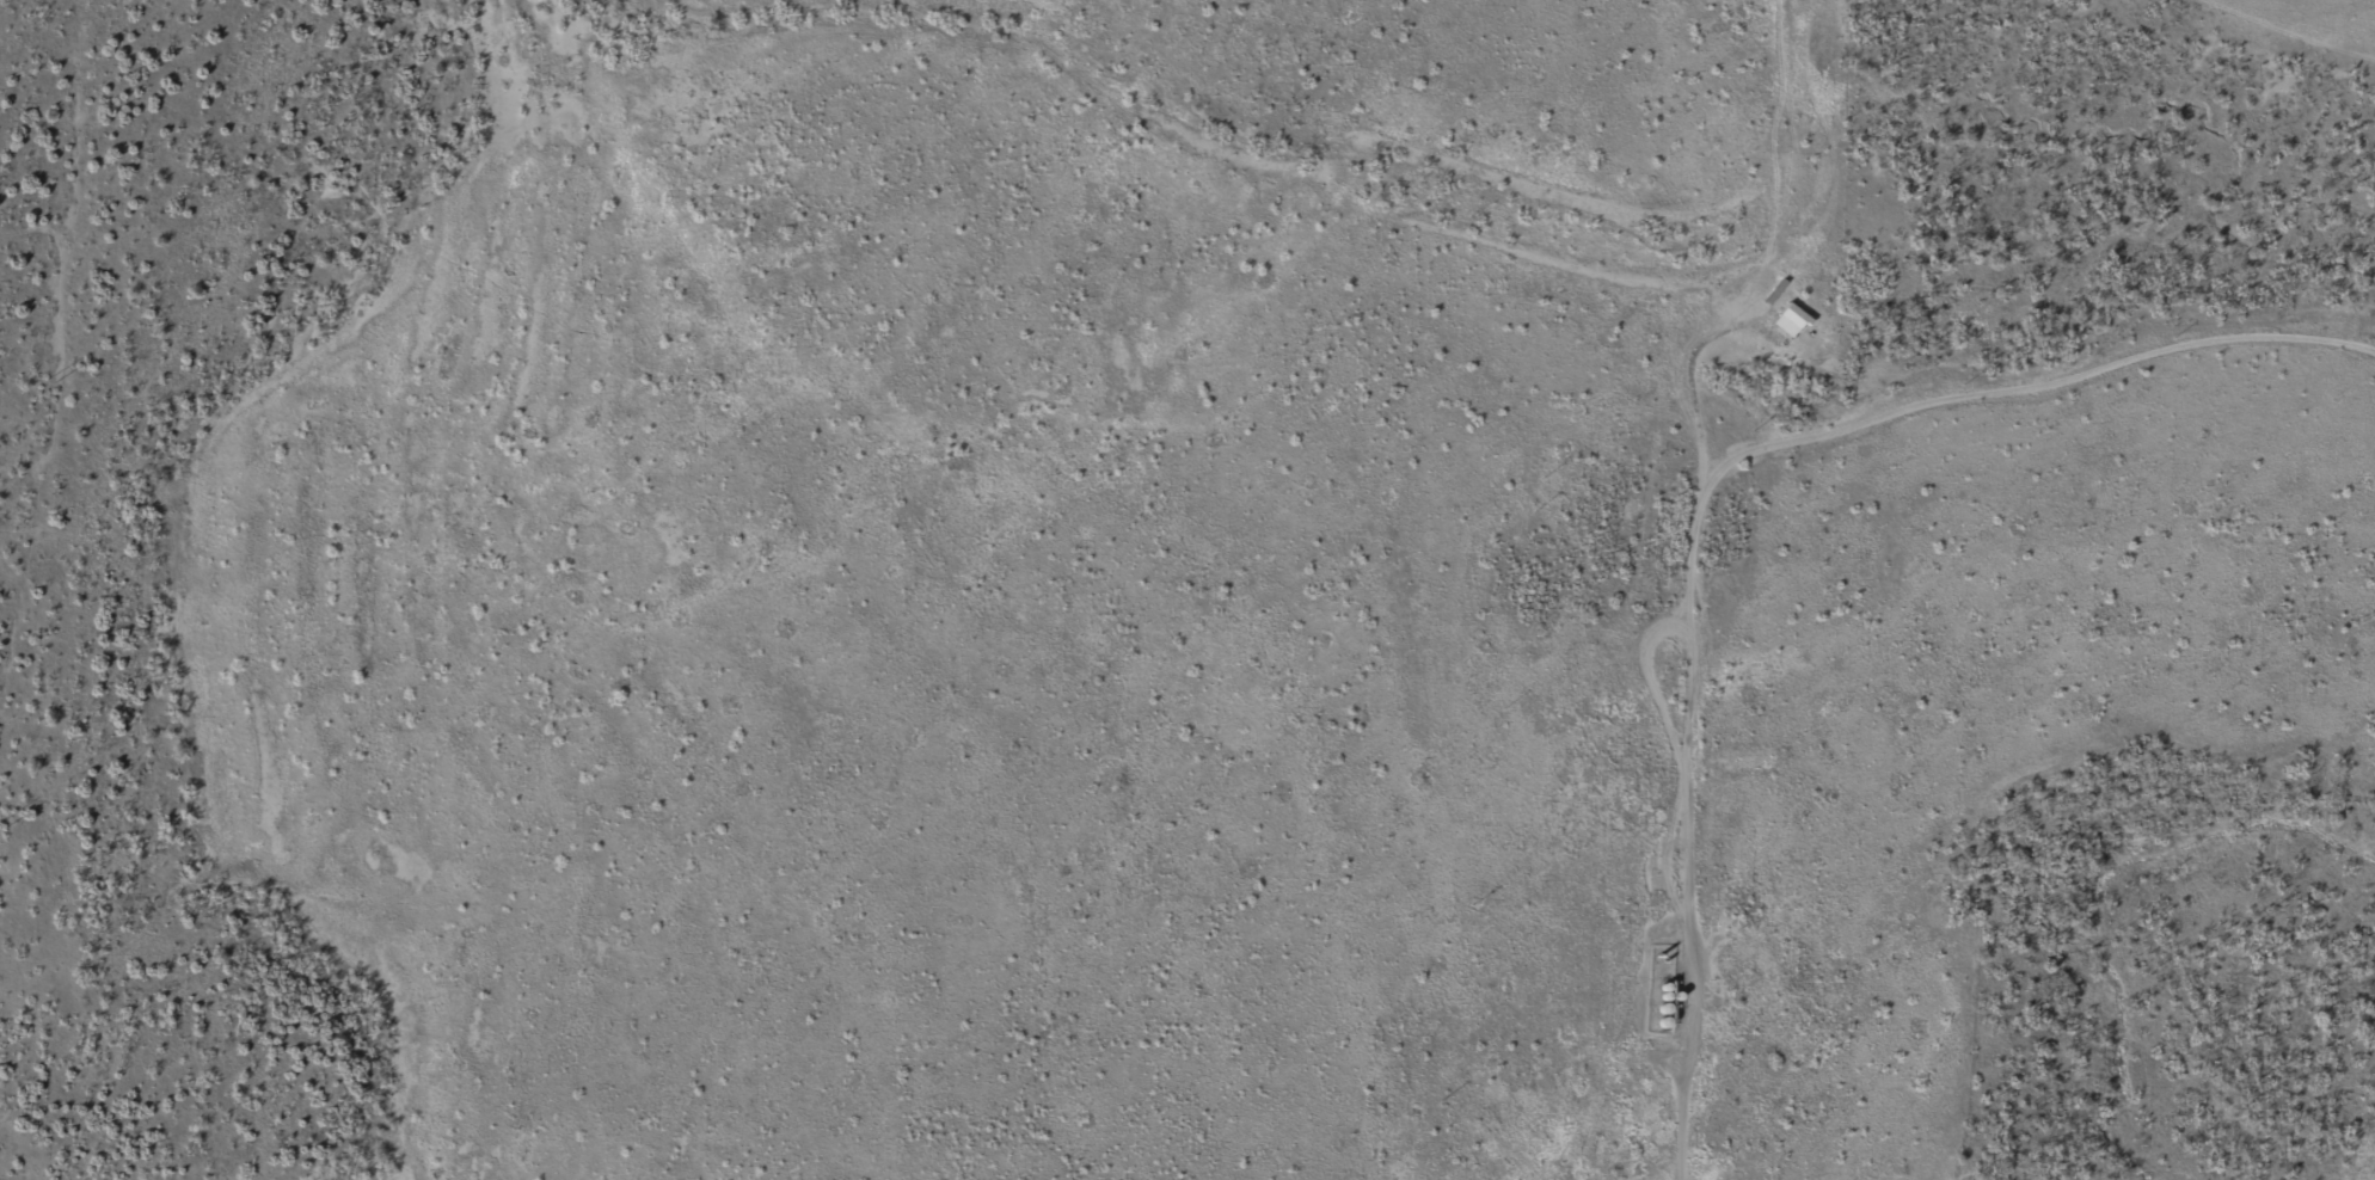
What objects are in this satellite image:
power tower: (51, 383)
power tower: (5, 825)

